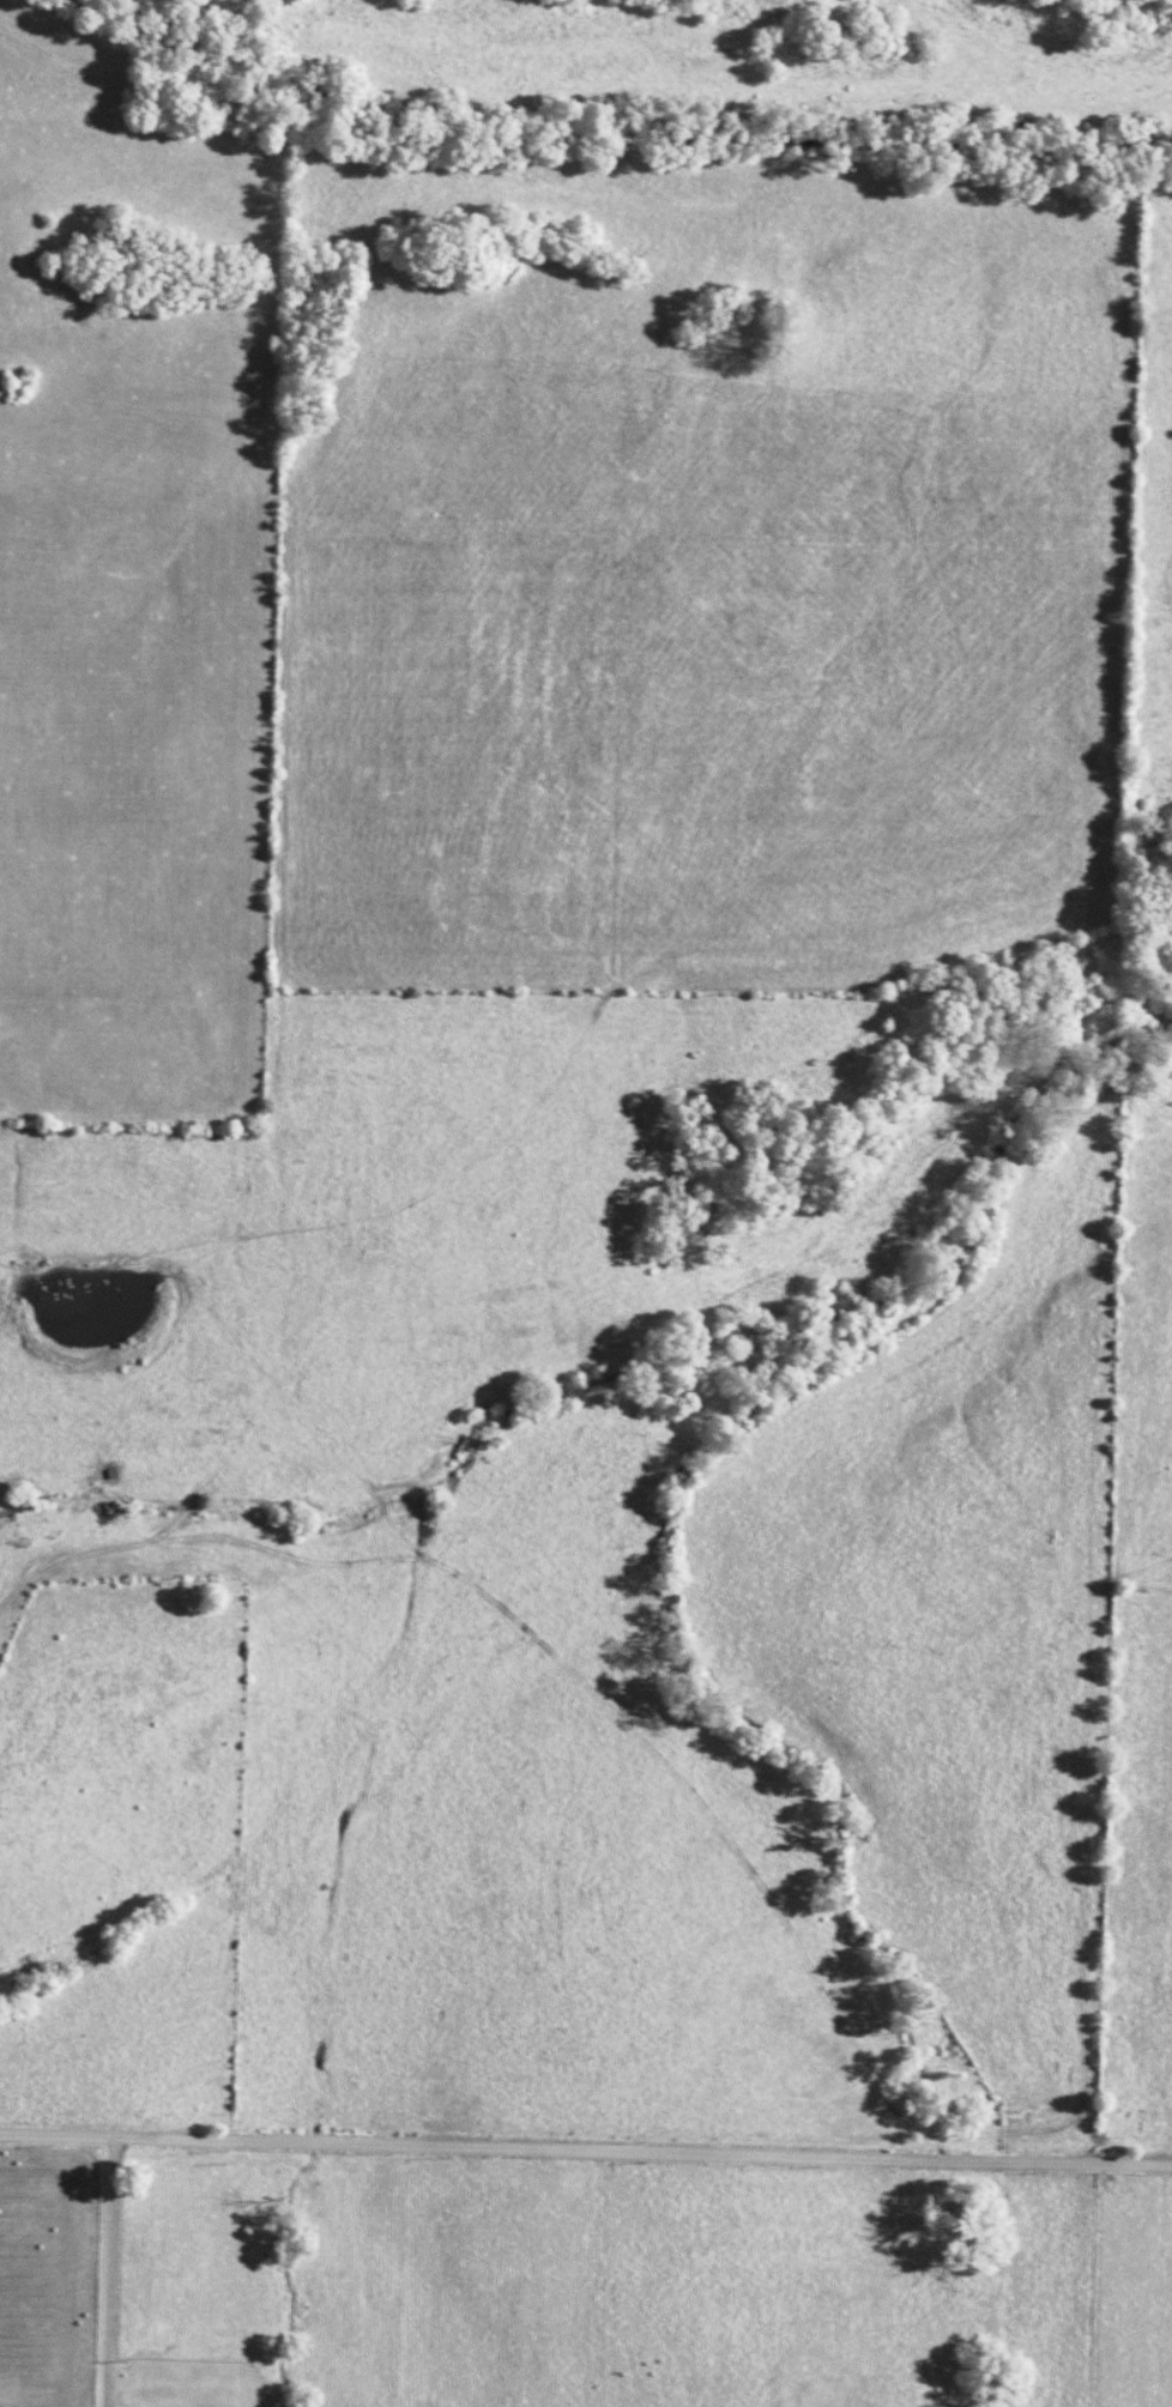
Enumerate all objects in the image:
road: (585, 2149)

